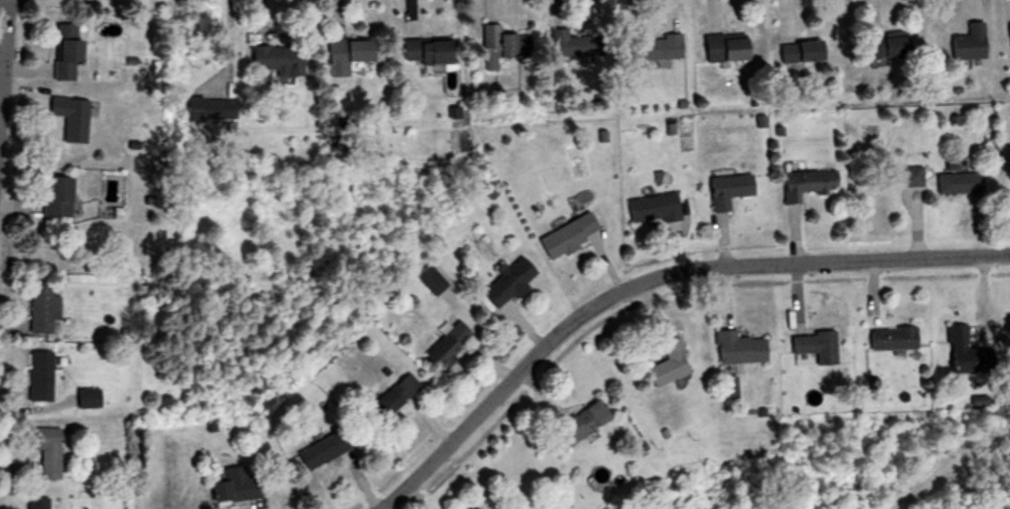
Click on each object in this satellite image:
road: (0, 0)
road: (0, 19)
building: (1006, 20)
building: (964, 44)
building: (881, 46)
building: (501, 47)
building: (718, 48)
building: (652, 49)
building: (74, 51)
building: (422, 51)
building: (795, 52)
building: (340, 56)
building: (273, 60)
building: (79, 118)
building: (909, 177)
building: (956, 184)
building: (804, 185)
building: (724, 192)
building: (65, 197)
building: (648, 209)
building: (565, 236)
road: (651, 280)
building: (504, 284)
building: (49, 309)
building: (888, 339)
building: (445, 346)
building: (811, 347)
building: (739, 350)
building: (958, 353)
building: (659, 373)
building: (45, 377)
building: (724, 389)
building: (93, 398)
building: (391, 398)
building: (578, 424)
building: (318, 452)
building: (53, 454)
road: (941, 458)
building: (232, 486)
building: (42, 503)

